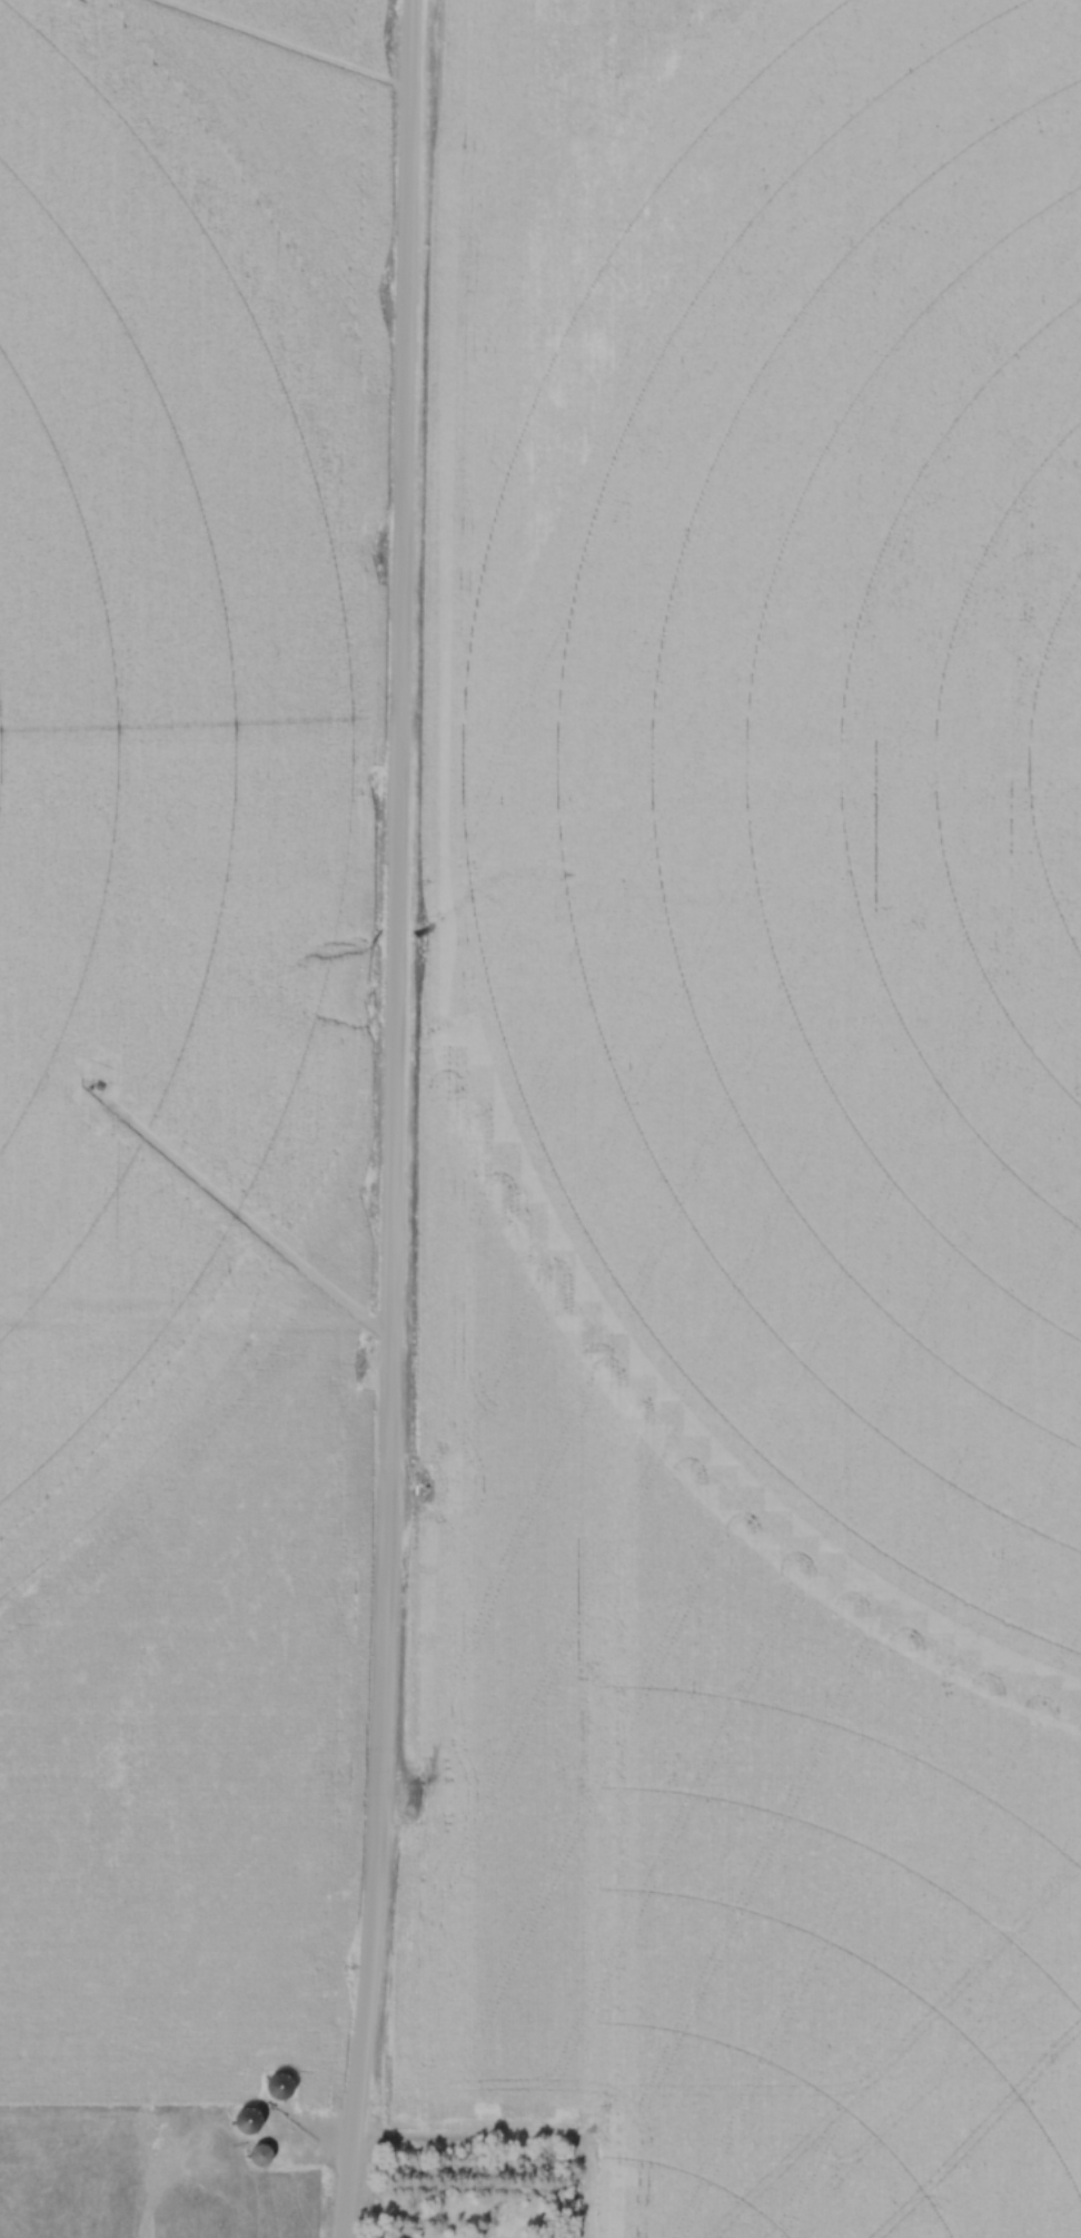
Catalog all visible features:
road: (396, 1120)
road: (196, 1322)
power tower: (409, 1800)
building: (279, 2088)
building: (248, 2121)
road: (472, 2129)

